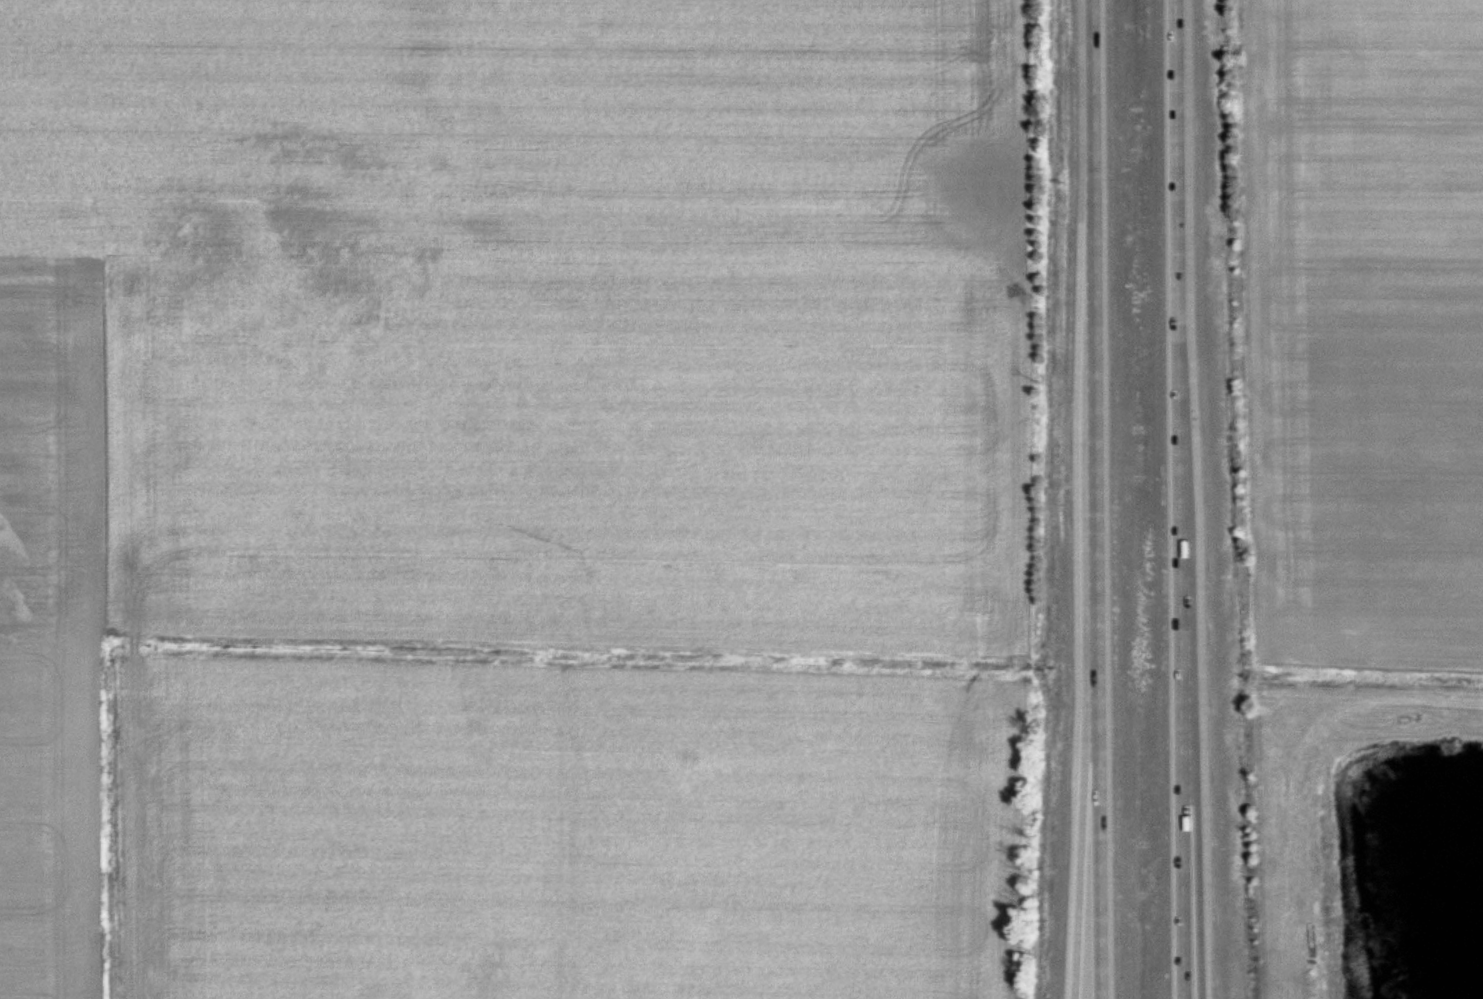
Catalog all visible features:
road: (1092, 499)
road: (1178, 499)
road: (1083, 866)
road: (1187, 909)

